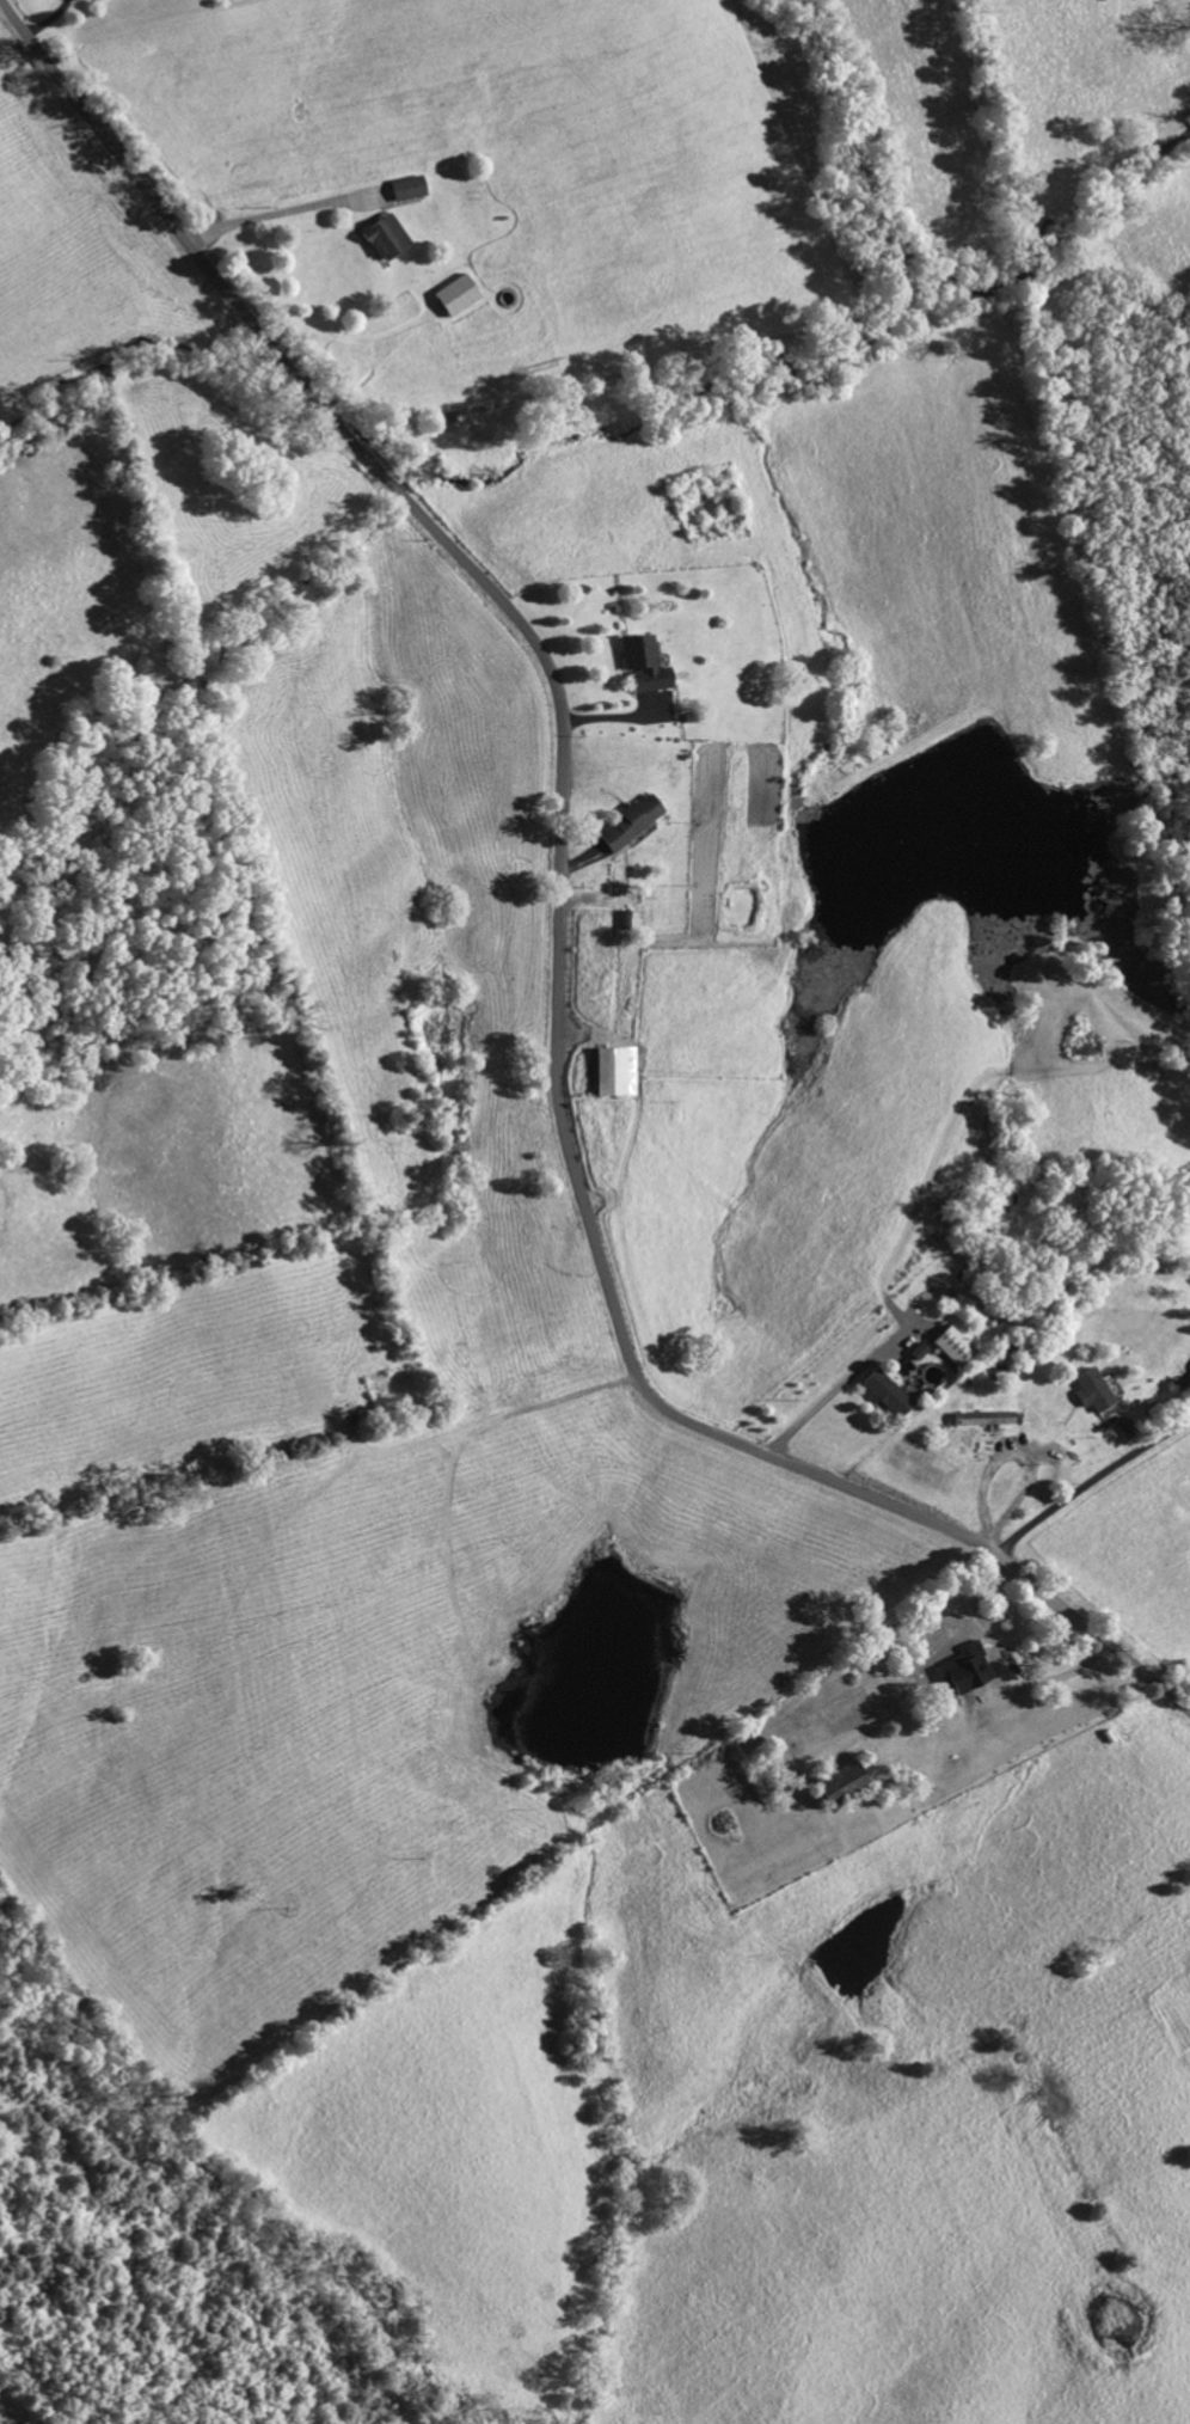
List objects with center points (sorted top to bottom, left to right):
road: (51, 20)
building: (406, 189)
road: (278, 216)
building: (384, 237)
building: (455, 296)
building: (642, 666)
building: (627, 824)
road: (563, 917)
building: (613, 1073)
building: (950, 1347)
building: (916, 1352)
road: (838, 1388)
building: (1090, 1391)
building: (885, 1394)
building: (981, 1420)
road: (1011, 1455)
road: (1091, 1481)
building: (964, 1671)
building: (839, 1786)

